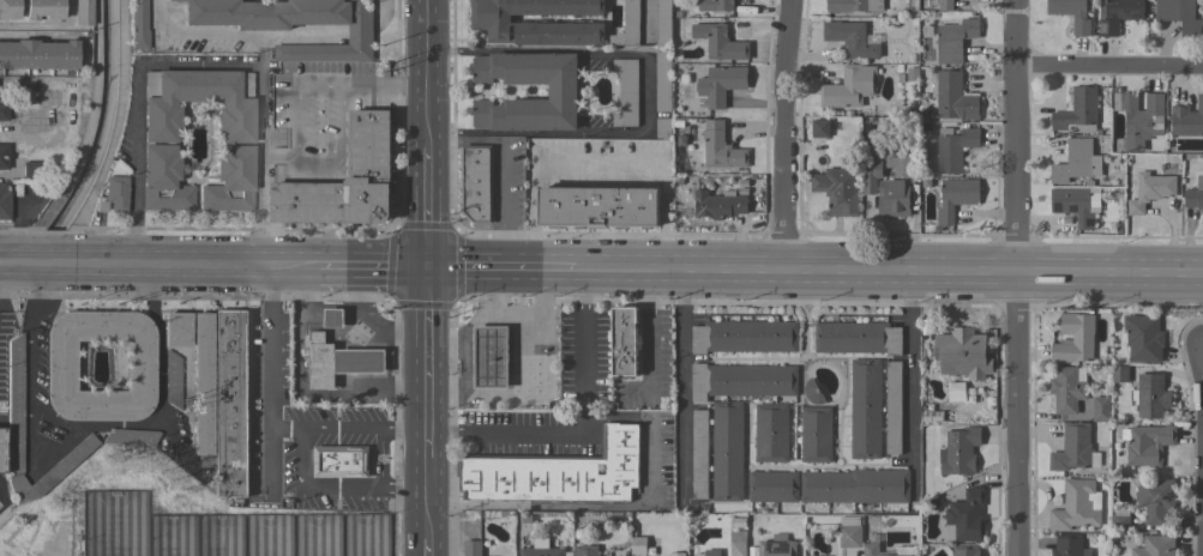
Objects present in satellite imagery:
building: (715, 5)
building: (853, 5)
building: (945, 5)
building: (8, 10)
building: (43, 10)
building: (82, 12)
building: (1119, 14)
road: (384, 16)
building: (1179, 16)
building: (539, 22)
building: (663, 22)
road: (34, 24)
building: (291, 24)
building: (137, 25)
building: (627, 25)
building: (1081, 26)
road: (360, 30)
road: (302, 34)
road: (191, 35)
building: (850, 38)
building: (955, 40)
building: (720, 42)
road: (423, 43)
road: (259, 49)
road: (535, 50)
building: (37, 54)
road: (198, 65)
road: (1112, 65)
road: (646, 66)
building: (662, 80)
building: (721, 84)
road: (383, 86)
building: (849, 89)
building: (563, 91)
building: (626, 92)
building: (951, 96)
building: (2, 107)
road: (423, 109)
building: (1078, 111)
building: (1139, 117)
building: (1187, 119)
building: (663, 127)
building: (819, 128)
road: (534, 133)
road: (784, 133)
building: (157, 138)
road: (423, 138)
building: (721, 147)
building: (954, 147)
building: (2, 157)
building: (1077, 162)
road: (296, 163)
road: (503, 163)
road: (596, 163)
building: (29, 169)
building: (345, 181)
building: (476, 182)
building: (870, 182)
building: (897, 188)
building: (838, 189)
building: (1150, 191)
building: (112, 195)
building: (1195, 195)
building: (956, 198)
building: (4, 200)
road: (423, 204)
building: (1076, 204)
building: (717, 205)
building: (599, 206)
road: (38, 264)
road: (198, 265)
road: (369, 265)
traffic signals: (423, 266)
road: (498, 266)
road: (888, 267)
road: (1019, 277)
building: (335, 318)
road: (362, 324)
road: (651, 326)
building: (176, 330)
road: (327, 330)
building: (745, 337)
building: (856, 337)
building: (1075, 338)
building: (1143, 338)
building: (625, 342)
building: (961, 351)
road: (425, 352)
building: (491, 357)
building: (361, 361)
building: (320, 362)
road: (906, 363)
building: (59, 365)
road: (387, 365)
building: (1119, 374)
road: (269, 377)
building: (172, 379)
road: (684, 380)
building: (742, 380)
building: (14, 387)
building: (201, 388)
building: (1067, 388)
road: (300, 391)
building: (812, 392)
building: (954, 392)
building: (1150, 395)
building: (230, 404)
building: (892, 407)
building: (865, 409)
building: (1101, 409)
building: (932, 416)
road: (284, 427)
road: (79, 428)
road: (585, 429)
road: (299, 433)
building: (771, 433)
building: (816, 434)
building: (130, 437)
building: (1147, 445)
building: (1075, 448)
building: (960, 451)
building: (718, 452)
building: (0, 453)
building: (341, 461)
building: (557, 472)
building: (772, 486)
building: (855, 486)
road: (402, 488)
road: (427, 489)
building: (1155, 500)
road: (613, 504)
building: (1076, 506)
building: (967, 515)
park: (176, 520)
building: (1120, 522)
building: (849, 532)
building: (738, 543)
building: (638, 545)
building: (1067, 545)
road: (428, 546)
building: (777, 546)
building: (1155, 546)
building: (473, 548)
building: (543, 549)
building: (872, 549)
building: (587, 550)
building: (966, 550)
building: (712, 551)
building: (676, 554)

